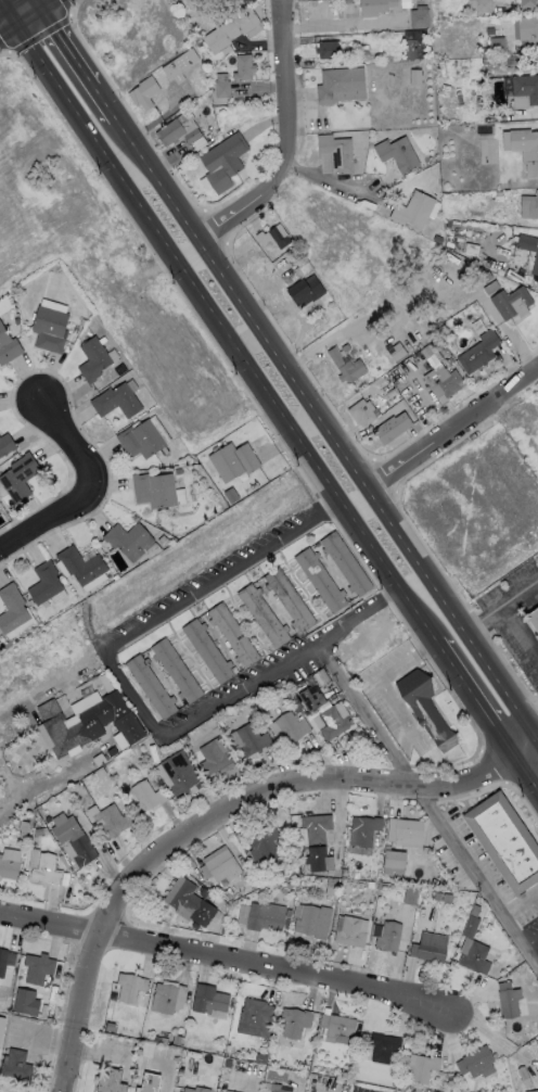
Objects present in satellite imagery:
traffic signals: (40, 0)
building: (405, 1)
building: (528, 3)
road: (33, 4)
building: (375, 7)
building: (484, 7)
road: (12, 17)
traffic signals: (13, 17)
building: (420, 18)
building: (208, 24)
building: (231, 30)
building: (528, 30)
building: (490, 31)
building: (417, 45)
building: (497, 46)
building: (329, 50)
building: (484, 51)
building: (512, 62)
building: (308, 64)
building: (181, 66)
building: (244, 68)
building: (415, 78)
building: (341, 82)
building: (526, 88)
building: (222, 90)
building: (145, 93)
building: (170, 132)
building: (193, 136)
road: (292, 144)
building: (526, 151)
building: (337, 153)
building: (398, 154)
building: (225, 162)
road: (326, 179)
building: (529, 206)
building: (414, 211)
building: (279, 239)
building: (438, 240)
building: (527, 243)
building: (536, 266)
building: (486, 278)
building: (306, 291)
building: (510, 302)
building: (342, 319)
building: (17, 321)
building: (84, 322)
building: (97, 322)
building: (320, 325)
building: (50, 330)
building: (441, 334)
building: (8, 347)
building: (346, 348)
building: (479, 353)
building: (397, 354)
building: (422, 359)
building: (94, 360)
building: (345, 367)
road: (284, 369)
building: (450, 383)
road: (270, 393)
building: (117, 402)
building: (362, 412)
building: (393, 429)
road: (452, 429)
building: (141, 441)
building: (7, 445)
building: (234, 461)
building: (178, 472)
building: (20, 478)
road: (87, 483)
building: (155, 491)
building: (231, 496)
building: (127, 538)
building: (315, 544)
building: (346, 564)
building: (81, 566)
building: (321, 580)
building: (46, 584)
building: (290, 600)
road: (502, 607)
building: (12, 610)
road: (359, 612)
building: (264, 615)
building: (534, 621)
building: (234, 635)
building: (537, 640)
building: (8, 645)
road: (105, 651)
building: (208, 651)
building: (177, 671)
building: (321, 678)
building: (152, 686)
building: (296, 688)
building: (311, 699)
building: (115, 704)
road: (14, 710)
building: (426, 710)
building: (298, 716)
building: (333, 722)
building: (293, 727)
building: (129, 728)
building: (67, 729)
building: (185, 739)
building: (253, 740)
building: (178, 745)
building: (137, 750)
building: (113, 752)
building: (215, 760)
building: (180, 773)
building: (115, 775)
road: (281, 783)
road: (44, 791)
building: (148, 797)
road: (426, 802)
building: (48, 821)
building: (112, 822)
building: (24, 827)
building: (317, 828)
building: (405, 830)
building: (40, 831)
building: (364, 831)
building: (75, 840)
building: (507, 842)
building: (259, 851)
building: (317, 860)
building: (396, 860)
building: (9, 868)
building: (48, 869)
building: (222, 871)
building: (393, 871)
building: (345, 873)
building: (396, 880)
building: (371, 885)
building: (290, 886)
building: (331, 887)
building: (426, 891)
building: (203, 892)
building: (227, 897)
building: (411, 897)
building: (213, 898)
building: (439, 898)
building: (220, 903)
building: (193, 904)
building: (289, 914)
building: (266, 917)
building: (315, 923)
building: (195, 927)
building: (469, 927)
building: (351, 932)
building: (389, 937)
building: (432, 953)
road: (238, 958)
building: (476, 958)
building: (5, 961)
building: (39, 968)
building: (59, 980)
building: (130, 988)
building: (168, 999)
building: (509, 1000)
building: (210, 1001)
building: (44, 1013)
building: (256, 1019)
building: (295, 1023)
road: (78, 1025)
building: (342, 1026)
building: (164, 1041)
building: (177, 1041)
building: (384, 1047)
road: (134, 1059)
building: (262, 1059)
building: (479, 1062)
building: (17, 1066)
building: (305, 1067)
building: (423, 1068)
building: (181, 1072)
building: (524, 1075)
building: (347, 1076)
building: (537, 1076)
building: (111, 1081)
building: (321, 1081)
building: (150, 1083)
building: (334, 1084)
building: (197, 1090)
building: (536, 1091)

